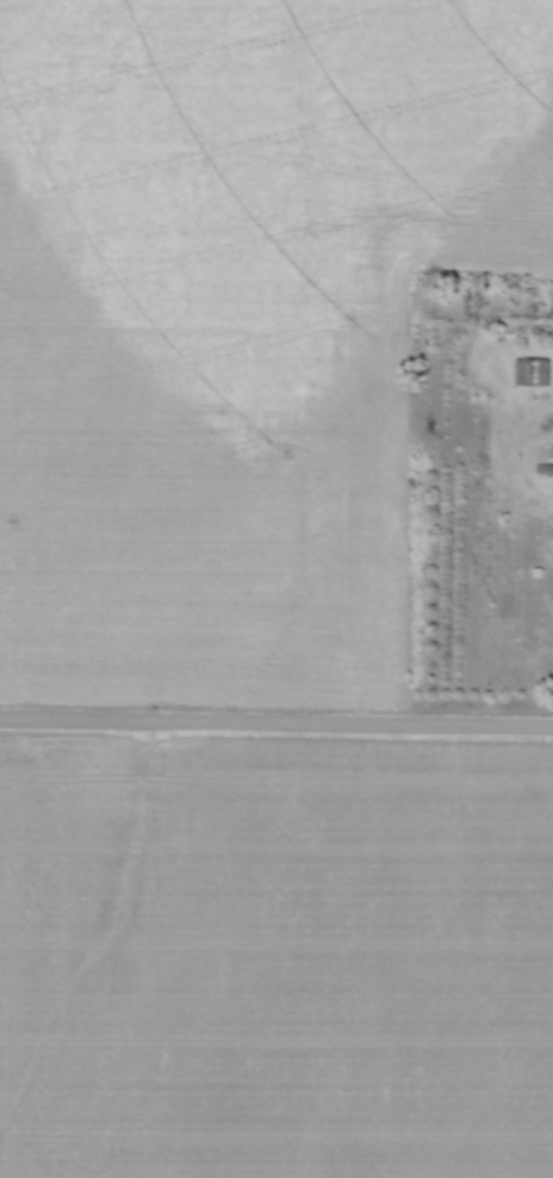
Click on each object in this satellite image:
crop: (237, 325)
building: (530, 370)
building: (552, 470)
road: (275, 723)
crop: (275, 958)

